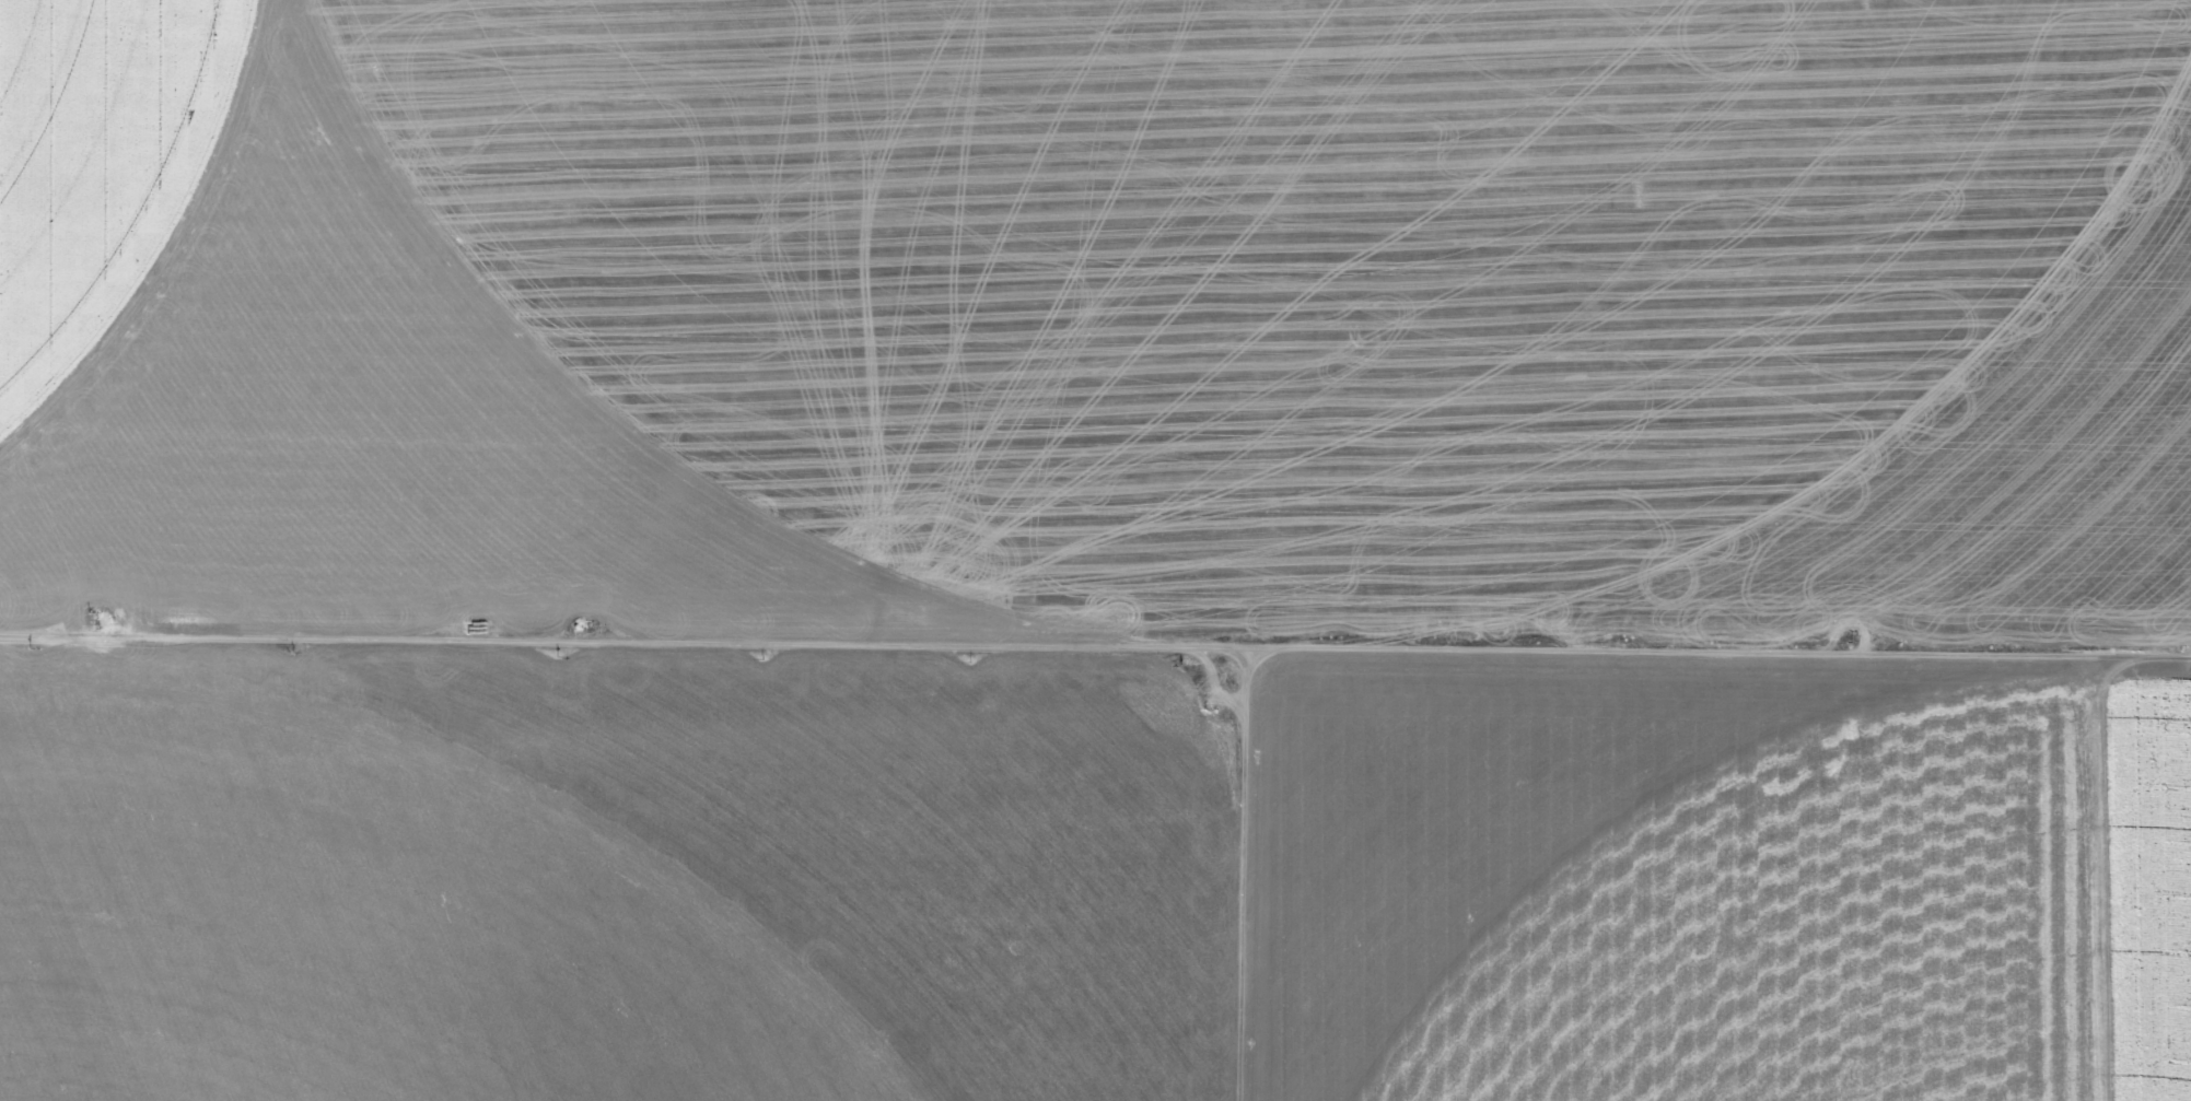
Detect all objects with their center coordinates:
road: (605, 664)
road: (1212, 886)

